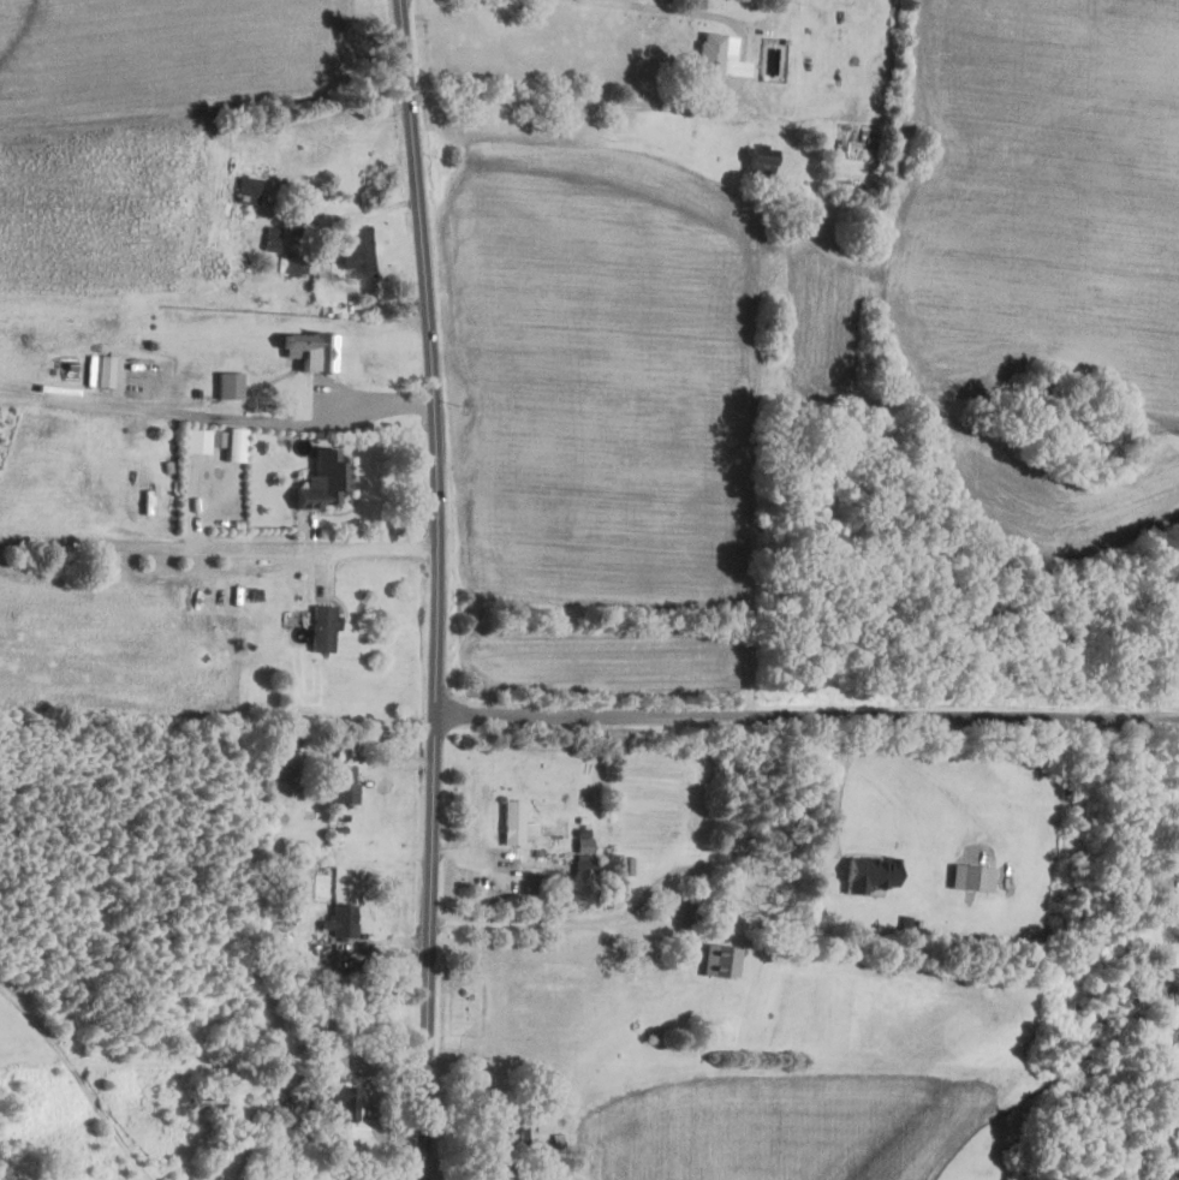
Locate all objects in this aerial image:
road: (660, 7)
building: (715, 59)
road: (574, 103)
building: (761, 161)
building: (248, 189)
building: (356, 252)
building: (297, 266)
building: (305, 353)
building: (230, 385)
building: (203, 440)
building: (236, 443)
building: (321, 482)
road: (219, 547)
building: (93, 565)
road: (437, 589)
building: (322, 628)
road: (808, 709)
road: (1172, 782)
building: (343, 783)
building: (511, 821)
road: (785, 856)
building: (584, 868)
building: (868, 874)
building: (971, 877)
building: (683, 910)
building: (338, 922)
road: (548, 922)
building: (715, 960)
building: (310, 1014)
road: (79, 1075)
building: (334, 1099)
road: (370, 1099)
building: (201, 1101)
building: (512, 1131)

